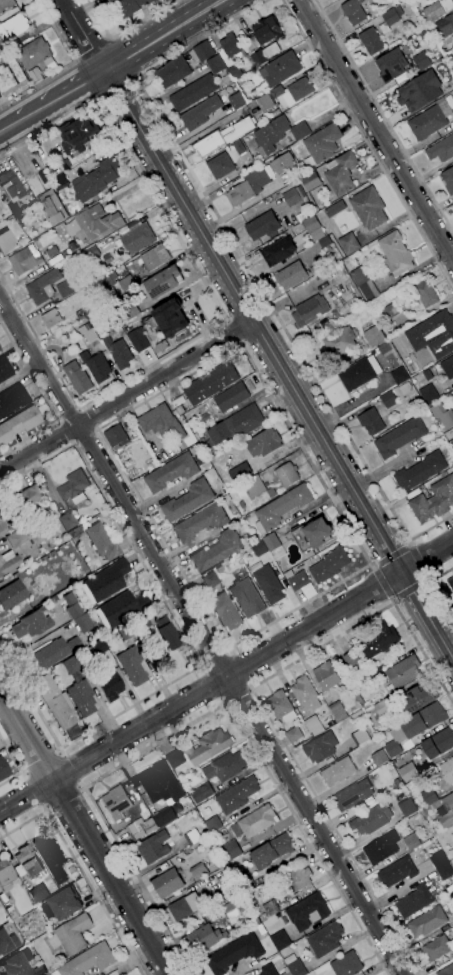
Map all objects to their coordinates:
building: (6, 4)
building: (129, 8)
building: (436, 11)
building: (353, 12)
building: (390, 19)
building: (445, 26)
building: (13, 28)
road: (124, 31)
road: (152, 31)
building: (263, 33)
road: (85, 35)
building: (424, 37)
road: (175, 38)
building: (370, 41)
building: (230, 45)
road: (89, 47)
building: (201, 52)
building: (264, 54)
building: (34, 55)
building: (421, 60)
road: (66, 64)
building: (215, 65)
building: (391, 65)
building: (280, 69)
building: (172, 72)
building: (235, 72)
building: (34, 75)
road: (96, 77)
building: (11, 78)
building: (227, 79)
road: (115, 92)
building: (193, 92)
building: (291, 92)
building: (419, 92)
road: (55, 101)
building: (236, 101)
building: (264, 102)
building: (200, 113)
road: (384, 116)
building: (426, 123)
road: (12, 126)
road: (376, 129)
building: (277, 134)
building: (77, 135)
building: (221, 137)
road: (367, 144)
building: (321, 145)
building: (238, 147)
building: (441, 150)
building: (282, 163)
building: (220, 166)
building: (340, 173)
building: (43, 177)
building: (96, 180)
building: (310, 181)
building: (447, 181)
building: (247, 186)
building: (10, 189)
building: (293, 196)
building: (52, 208)
building: (368, 208)
building: (334, 209)
building: (300, 217)
building: (21, 218)
building: (94, 225)
building: (262, 226)
building: (313, 228)
building: (137, 238)
road: (176, 238)
building: (6, 242)
building: (324, 242)
building: (348, 244)
building: (278, 251)
building: (51, 252)
building: (395, 253)
building: (92, 255)
building: (154, 257)
building: (25, 260)
road: (246, 269)
building: (313, 270)
building: (291, 275)
building: (116, 281)
building: (164, 282)
building: (363, 283)
building: (48, 287)
building: (425, 293)
building: (132, 311)
building: (309, 311)
building: (389, 311)
building: (85, 313)
building: (51, 318)
building: (171, 318)
road: (254, 322)
building: (151, 324)
building: (113, 327)
road: (231, 333)
building: (88, 334)
building: (433, 334)
building: (373, 336)
building: (138, 340)
building: (340, 341)
road: (38, 343)
road: (240, 345)
building: (160, 347)
building: (384, 348)
building: (118, 352)
building: (96, 366)
building: (448, 367)
building: (5, 369)
building: (359, 373)
building: (399, 376)
building: (77, 377)
building: (210, 383)
building: (405, 389)
building: (428, 394)
building: (452, 394)
road: (126, 396)
building: (231, 397)
building: (12, 398)
building: (388, 399)
road: (46, 400)
building: (179, 410)
road: (67, 414)
building: (442, 415)
road: (90, 417)
building: (204, 417)
building: (160, 421)
building: (371, 421)
building: (19, 424)
building: (236, 425)
building: (452, 427)
road: (65, 432)
building: (116, 436)
road: (84, 437)
building: (399, 437)
building: (263, 443)
building: (451, 444)
building: (203, 448)
building: (238, 471)
building: (170, 472)
building: (419, 472)
building: (286, 474)
building: (73, 487)
building: (253, 487)
building: (270, 492)
building: (24, 498)
building: (434, 499)
building: (188, 500)
building: (241, 505)
building: (281, 508)
building: (67, 520)
building: (201, 522)
building: (3, 528)
building: (312, 535)
building: (16, 538)
building: (246, 538)
building: (102, 541)
building: (273, 546)
building: (258, 548)
building: (217, 550)
road: (389, 554)
road: (428, 558)
road: (421, 561)
building: (8, 562)
building: (329, 565)
building: (220, 569)
building: (452, 575)
building: (107, 580)
building: (298, 581)
road: (381, 582)
building: (450, 582)
building: (212, 583)
building: (268, 584)
road: (433, 590)
road: (410, 591)
building: (12, 594)
building: (246, 598)
building: (120, 609)
building: (224, 611)
road: (427, 615)
building: (77, 617)
building: (31, 624)
building: (133, 626)
building: (164, 635)
road: (205, 635)
road: (189, 640)
building: (376, 640)
building: (95, 649)
building: (52, 653)
road: (215, 657)
building: (351, 659)
building: (132, 665)
road: (238, 669)
building: (403, 672)
building: (376, 674)
building: (326, 676)
building: (109, 683)
road: (215, 683)
building: (79, 687)
road: (201, 693)
building: (305, 693)
road: (238, 695)
building: (418, 698)
building: (55, 702)
building: (280, 706)
road: (260, 708)
building: (383, 708)
building: (337, 712)
road: (198, 719)
building: (314, 725)
building: (414, 727)
building: (293, 734)
building: (359, 737)
building: (438, 743)
building: (208, 746)
building: (320, 747)
building: (379, 758)
road: (42, 760)
building: (396, 762)
road: (19, 763)
building: (178, 764)
building: (225, 767)
road: (72, 768)
building: (4, 769)
building: (338, 771)
building: (447, 771)
building: (408, 772)
building: (158, 783)
road: (34, 790)
building: (201, 793)
building: (237, 795)
building: (352, 795)
building: (428, 797)
road: (64, 799)
building: (116, 802)
building: (407, 808)
building: (424, 811)
building: (372, 819)
building: (255, 822)
building: (149, 823)
building: (212, 824)
road: (84, 831)
building: (222, 832)
building: (192, 837)
building: (410, 841)
building: (213, 843)
building: (425, 844)
building: (153, 847)
building: (381, 848)
building: (230, 850)
building: (271, 851)
building: (51, 859)
building: (28, 862)
building: (217, 864)
building: (441, 865)
road: (80, 869)
building: (200, 871)
building: (396, 872)
building: (5, 875)
building: (242, 879)
building: (294, 879)
building: (167, 883)
building: (228, 887)
building: (39, 894)
building: (414, 901)
building: (61, 906)
building: (184, 907)
building: (270, 908)
building: (307, 911)
building: (427, 922)
building: (70, 935)
building: (203, 938)
building: (324, 940)
building: (280, 941)
building: (7, 942)
building: (436, 948)
building: (234, 953)
building: (451, 953)
building: (88, 960)
building: (18, 963)
building: (346, 965)
building: (294, 966)
building: (39, 970)
building: (267, 970)
building: (446, 970)
building: (286, 972)
building: (120, 974)
building: (124, 974)

